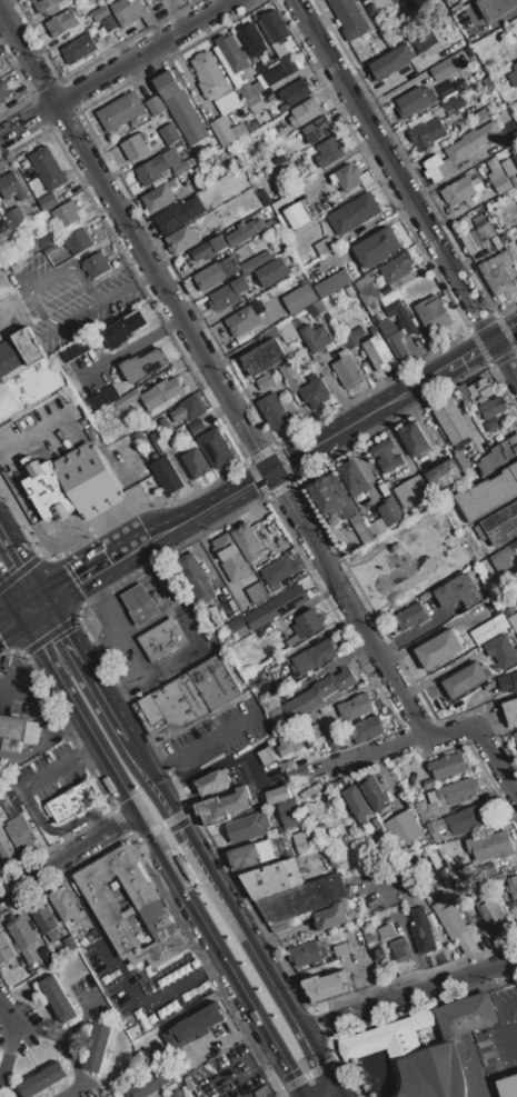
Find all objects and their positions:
building: (149, 0)
building: (461, 0)
building: (47, 6)
building: (495, 7)
building: (131, 11)
building: (100, 13)
building: (349, 18)
building: (62, 22)
building: (109, 23)
building: (275, 27)
road: (486, 27)
building: (422, 40)
building: (256, 41)
building: (86, 42)
building: (231, 52)
building: (391, 61)
building: (287, 63)
building: (225, 64)
building: (447, 67)
road: (117, 69)
building: (271, 72)
building: (514, 74)
building: (209, 77)
building: (248, 86)
road: (381, 87)
building: (2, 91)
building: (296, 91)
building: (415, 101)
building: (259, 102)
building: (156, 106)
building: (449, 106)
building: (181, 107)
building: (120, 111)
building: (306, 111)
building: (481, 114)
building: (240, 129)
building: (317, 129)
building: (222, 130)
building: (169, 133)
building: (427, 133)
building: (135, 147)
building: (460, 150)
building: (329, 151)
building: (181, 166)
building: (48, 168)
building: (151, 170)
building: (497, 176)
building: (352, 178)
building: (12, 187)
road: (406, 187)
building: (461, 191)
building: (159, 197)
building: (265, 197)
building: (48, 201)
building: (282, 205)
building: (354, 213)
building: (0, 215)
building: (66, 215)
building: (179, 215)
building: (295, 216)
building: (14, 218)
building: (246, 231)
building: (476, 235)
road: (358, 237)
building: (182, 239)
building: (48, 240)
building: (79, 241)
building: (325, 247)
building: (209, 248)
building: (377, 248)
building: (255, 261)
building: (97, 265)
building: (397, 268)
building: (216, 273)
building: (499, 275)
building: (271, 280)
building: (331, 283)
road: (126, 287)
road: (23, 289)
building: (348, 291)
building: (227, 295)
building: (368, 296)
building: (299, 298)
building: (429, 308)
building: (317, 309)
road: (7, 315)
building: (245, 319)
building: (397, 328)
building: (287, 331)
building: (352, 332)
building: (316, 337)
road: (132, 345)
building: (133, 348)
building: (74, 349)
building: (377, 351)
building: (264, 358)
building: (368, 363)
building: (347, 370)
building: (26, 375)
building: (289, 376)
building: (265, 382)
building: (474, 391)
building: (160, 393)
building: (316, 395)
building: (103, 398)
building: (126, 399)
building: (491, 407)
building: (188, 409)
building: (274, 410)
building: (451, 422)
road: (44, 423)
road: (421, 425)
building: (196, 426)
road: (249, 428)
building: (160, 440)
building: (414, 440)
road: (314, 447)
building: (217, 448)
building: (499, 453)
building: (386, 455)
building: (463, 461)
building: (196, 463)
traffic signals: (275, 471)
road: (368, 473)
building: (167, 476)
building: (444, 476)
building: (352, 477)
building: (71, 483)
building: (411, 492)
building: (488, 493)
building: (331, 499)
building: (392, 515)
building: (497, 523)
building: (377, 529)
building: (247, 542)
building: (504, 557)
road: (21, 558)
building: (230, 558)
park: (410, 558)
building: (278, 571)
traffic signals: (0, 574)
road: (74, 575)
traffic signals: (74, 576)
building: (196, 578)
building: (456, 590)
road: (10, 592)
building: (255, 592)
road: (32, 604)
building: (140, 605)
building: (276, 607)
building: (411, 616)
road: (10, 619)
building: (514, 620)
building: (236, 624)
building: (305, 626)
building: (489, 629)
traffic signals: (68, 634)
building: (162, 639)
road: (126, 642)
road: (76, 647)
building: (439, 649)
building: (501, 651)
building: (315, 657)
road: (22, 669)
road: (436, 674)
building: (465, 680)
building: (508, 682)
building: (190, 695)
building: (317, 696)
road: (43, 706)
building: (355, 706)
building: (510, 711)
road: (34, 719)
road: (118, 719)
building: (365, 729)
building: (17, 732)
building: (515, 737)
building: (332, 741)
road: (199, 742)
building: (289, 745)
road: (378, 754)
building: (265, 756)
road: (63, 762)
road: (217, 765)
building: (447, 766)
road: (181, 767)
building: (297, 771)
building: (213, 781)
building: (374, 794)
building: (278, 795)
building: (446, 799)
building: (72, 801)
building: (356, 804)
building: (223, 806)
traffic signals: (137, 811)
building: (288, 814)
building: (463, 819)
road: (160, 825)
building: (247, 826)
traffic signals: (179, 828)
building: (404, 828)
road: (52, 830)
building: (21, 831)
road: (166, 837)
building: (301, 844)
building: (497, 845)
building: (6, 846)
road: (68, 852)
road: (161, 855)
building: (248, 855)
building: (499, 876)
building: (272, 879)
road: (212, 885)
building: (513, 885)
building: (302, 898)
building: (511, 905)
building: (66, 907)
building: (156, 912)
building: (331, 916)
building: (493, 916)
building: (46, 921)
building: (279, 926)
building: (457, 927)
building: (385, 931)
building: (421, 931)
building: (368, 933)
building: (23, 938)
building: (69, 944)
building: (4, 949)
building: (341, 949)
building: (400, 950)
building: (307, 953)
building: (380, 954)
building: (46, 955)
building: (326, 986)
road: (407, 995)
building: (58, 999)
road: (145, 1005)
road: (6, 1011)
road: (501, 1014)
building: (192, 1027)
road: (66, 1029)
parking lot: (499, 1035)
road: (496, 1046)
building: (98, 1048)
building: (425, 1051)
road: (315, 1060)
road: (3, 1061)
road: (76, 1070)
road: (0, 1076)
building: (42, 1079)
building: (149, 1085)
building: (508, 1086)
traffic signals: (330, 1090)
road: (325, 1094)
road: (331, 1094)
building: (173, 1095)

